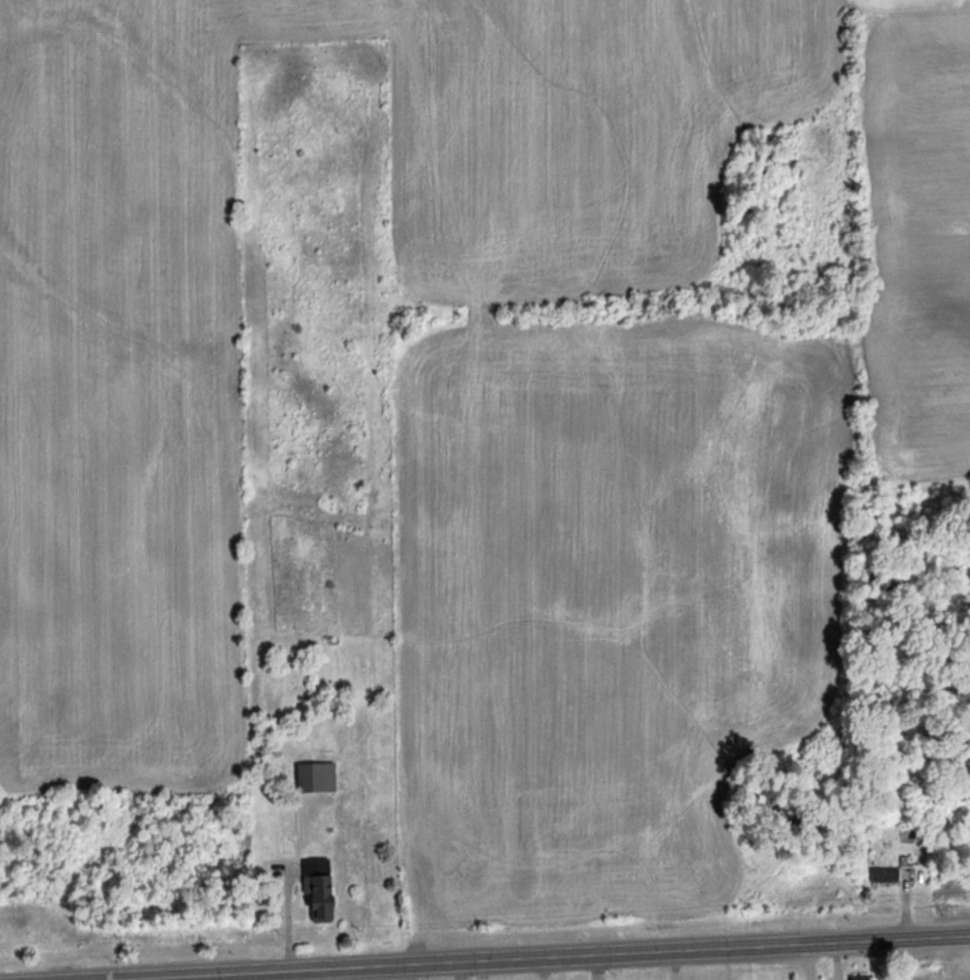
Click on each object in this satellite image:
building: (318, 779)
building: (886, 876)
building: (321, 889)
road: (944, 934)
road: (484, 958)
building: (862, 978)

